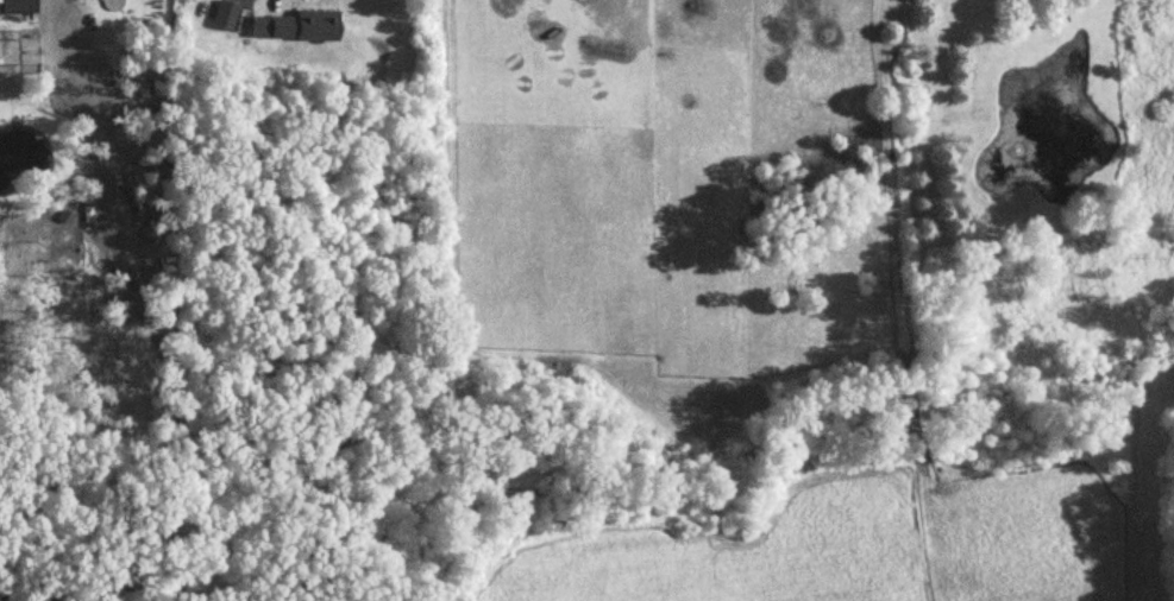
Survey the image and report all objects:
building: (19, 7)
building: (225, 17)
building: (306, 27)

